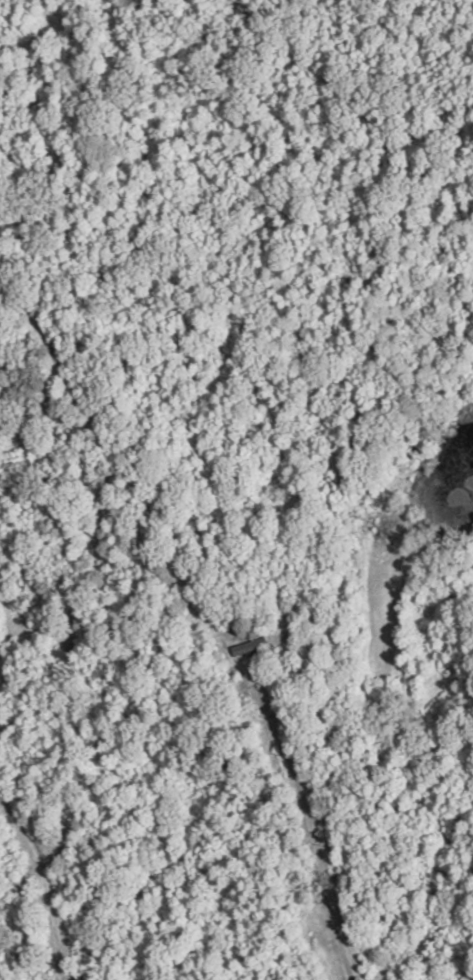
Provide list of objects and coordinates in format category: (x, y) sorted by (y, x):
building: (251, 647)

